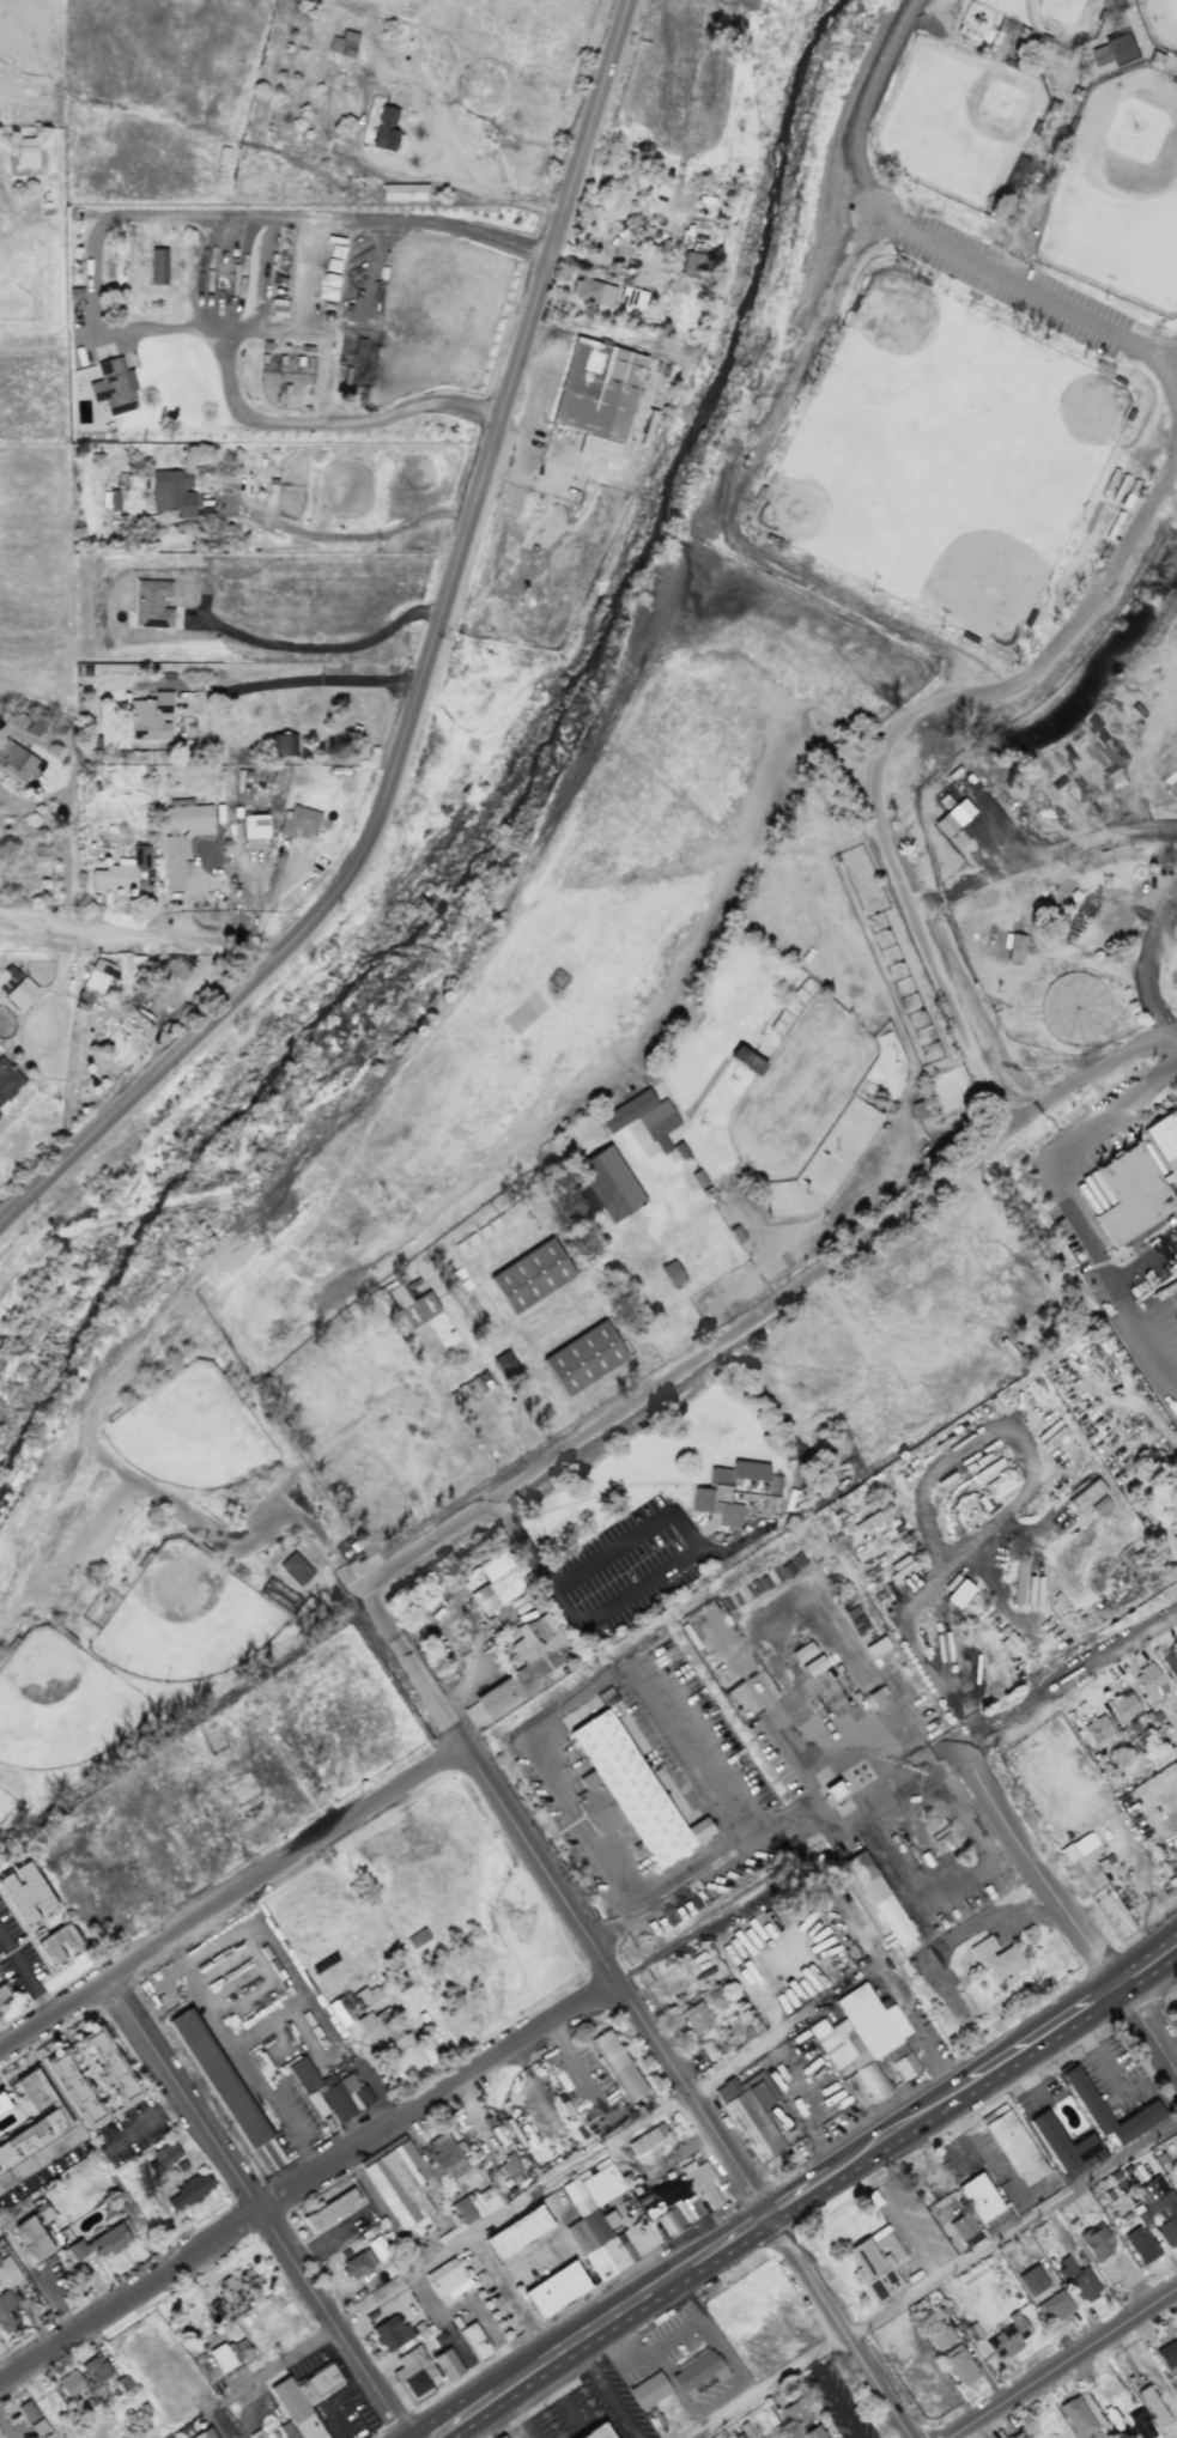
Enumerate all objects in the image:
park: (1057, 14)
park: (1159, 20)
building: (342, 44)
building: (1109, 51)
road: (861, 103)
park: (952, 120)
building: (384, 129)
building: (25, 151)
park: (1117, 189)
building: (691, 263)
road: (93, 265)
building: (158, 266)
road: (211, 283)
parking lot: (1015, 284)
road: (259, 289)
building: (591, 291)
road: (1023, 291)
park: (912, 335)
building: (114, 386)
building: (597, 395)
park: (1075, 412)
building: (172, 492)
park: (823, 495)
building: (111, 499)
park: (973, 559)
building: (152, 604)
road: (318, 645)
road: (423, 677)
road: (305, 680)
building: (150, 717)
building: (29, 722)
road: (890, 733)
building: (952, 817)
building: (299, 823)
building: (254, 826)
building: (182, 835)
road: (1046, 848)
road: (67, 859)
building: (127, 873)
park: (625, 915)
road: (138, 932)
building: (1014, 948)
road: (1140, 959)
building: (176, 966)
building: (97, 975)
building: (19, 991)
building: (1074, 1007)
building: (745, 1060)
building: (7, 1080)
building: (643, 1118)
building: (1164, 1140)
building: (679, 1150)
building: (608, 1183)
building: (1128, 1196)
building: (583, 1199)
road: (1074, 1211)
road: (4, 1214)
building: (671, 1273)
building: (529, 1275)
road: (783, 1302)
building: (409, 1304)
building: (583, 1358)
building: (505, 1363)
building: (738, 1493)
building: (1090, 1498)
building: (1175, 1539)
building: (295, 1569)
road: (659, 1578)
building: (1018, 1579)
building: (497, 1581)
building: (958, 1593)
road: (910, 1626)
building: (802, 1652)
building: (1170, 1661)
building: (526, 1666)
building: (812, 1667)
road: (1068, 1673)
road: (656, 1679)
building: (1148, 1681)
building: (1124, 1705)
building: (1096, 1727)
road: (485, 1776)
building: (627, 1793)
road: (862, 1802)
building: (1094, 1882)
building: (24, 1893)
road: (233, 1900)
building: (880, 1902)
road: (1067, 1910)
road: (950, 1928)
road: (687, 1936)
building: (417, 1937)
building: (56, 1943)
building: (997, 1960)
road: (1146, 1964)
road: (842, 1976)
road: (26, 1977)
road: (620, 1981)
building: (2, 1994)
building: (366, 1997)
building: (1173, 2009)
building: (340, 2011)
building: (696, 2016)
building: (383, 2032)
building: (866, 2039)
road: (1037, 2043)
building: (108, 2062)
building: (617, 2066)
road: (1110, 2078)
building: (330, 2088)
building: (73, 2090)
building: (226, 2091)
building: (315, 2103)
building: (2, 2104)
building: (49, 2121)
building: (1137, 2123)
road: (891, 2137)
building: (643, 2141)
building: (1014, 2148)
road: (41, 2151)
building: (164, 2154)
building: (509, 2165)
building: (412, 2176)
road: (308, 2179)
building: (700, 2181)
building: (188, 2191)
building: (1157, 2196)
building: (979, 2197)
road: (796, 2199)
road: (260, 2209)
building: (330, 2209)
building: (462, 2210)
road: (764, 2210)
building: (671, 2213)
road: (894, 2214)
building: (599, 2218)
parking lot: (910, 2221)
building: (961, 2226)
building: (1169, 2231)
building: (517, 2232)
building: (31, 2238)
building: (1094, 2240)
building: (101, 2242)
road: (729, 2244)
building: (1140, 2244)
road: (451, 2250)
building: (357, 2264)
building: (7, 2272)
building: (873, 2272)
road: (930, 2276)
building: (447, 2278)
building: (1032, 2280)
building: (1079, 2280)
building: (238, 2285)
building: (556, 2290)
road: (511, 2299)
road: (56, 2304)
building: (1052, 2306)
building: (6, 2312)
road: (625, 2312)
building: (972, 2331)
building: (392, 2333)
building: (1007, 2336)
building: (940, 2337)
building: (475, 2340)
building: (230, 2353)
building: (1167, 2353)
road: (1063, 2363)
building: (445, 2365)
building: (958, 2365)
building: (93, 2370)
building: (413, 2371)
building: (697, 2371)
road: (523, 2379)
building: (69, 2383)
road: (196, 2384)
building: (648, 2390)
road: (559, 2391)
road: (605, 2392)
road: (835, 2396)
building: (305, 2398)
parking lot: (843, 2402)
building: (1152, 2406)
building: (26, 2410)
building: (796, 2414)
road: (518, 2415)
building: (1076, 2416)
road: (461, 2421)
building: (1139, 2422)
building: (286, 2430)
building: (596, 2432)
building: (813, 2432)
building: (204, 2434)
building: (255, 2434)
building: (1015, 2436)
building: (165, 2437)

